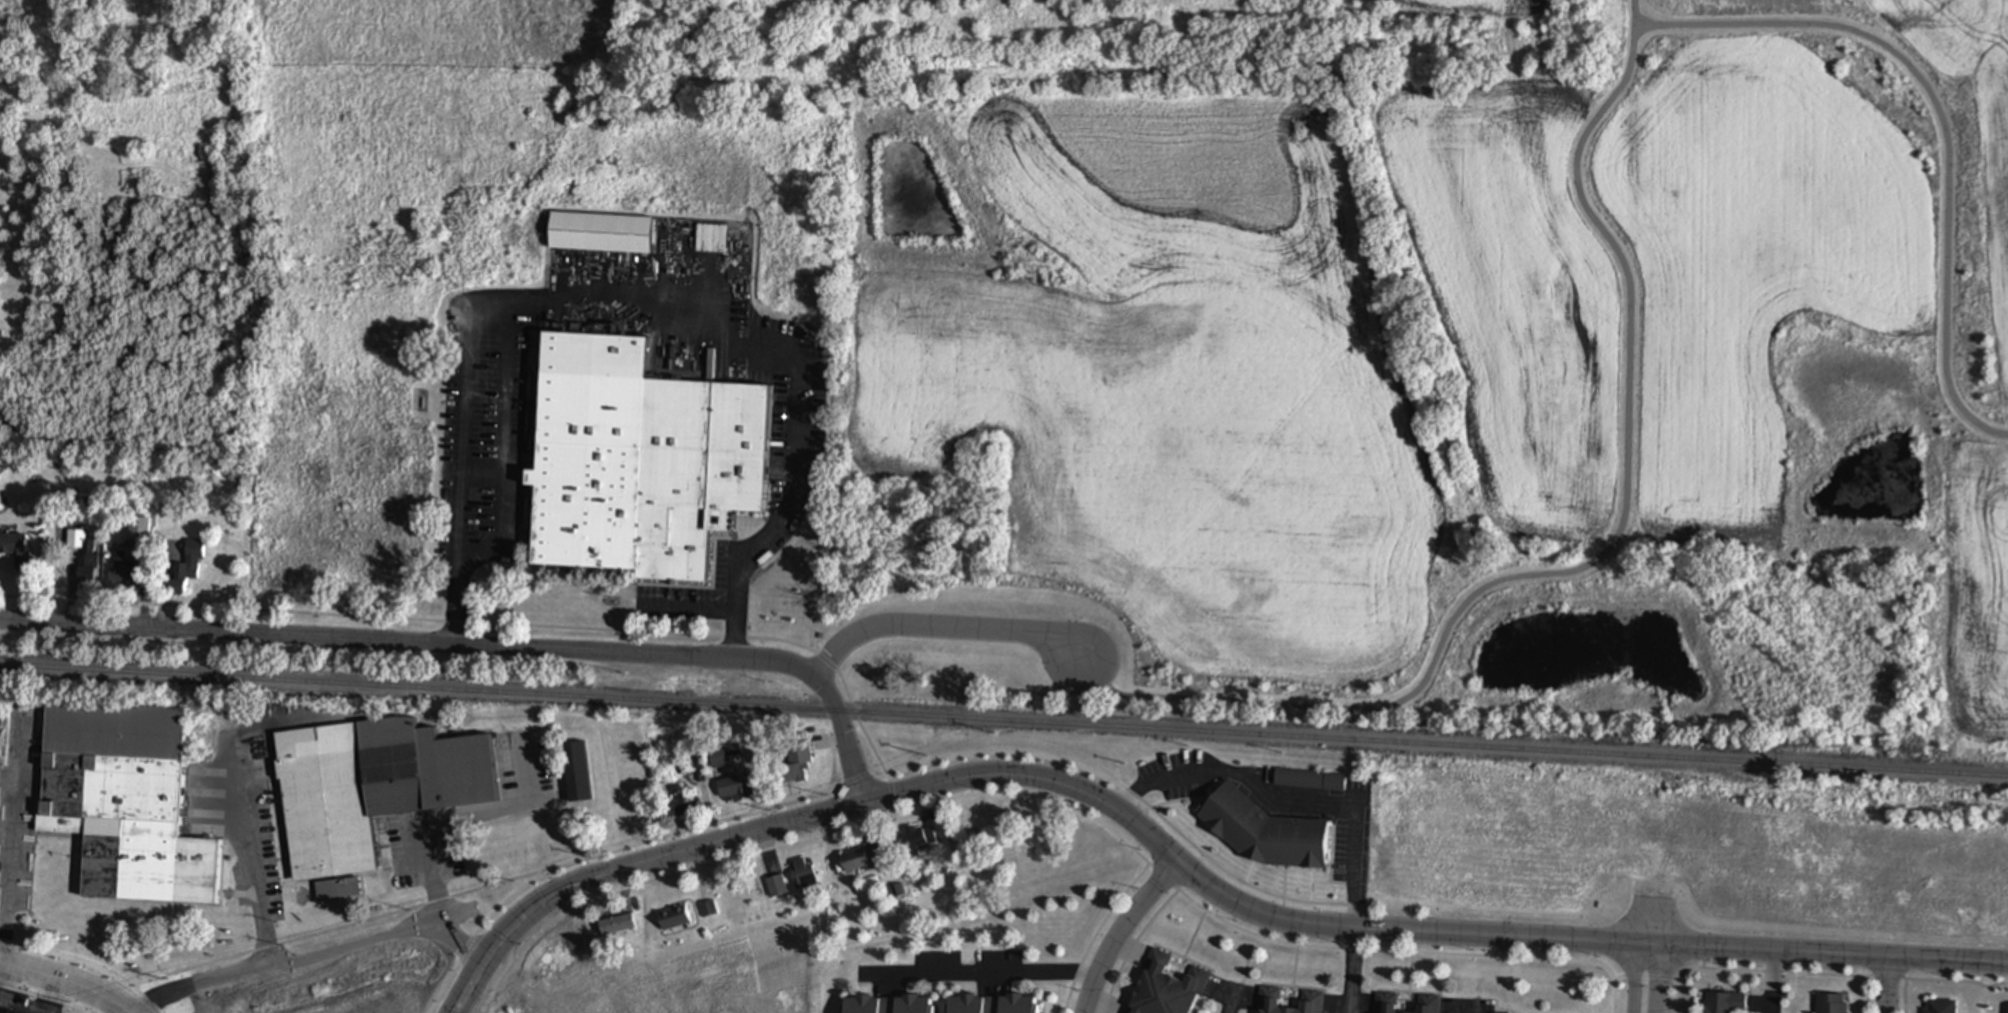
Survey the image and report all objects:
road: (1941, 121)
building: (600, 233)
road: (640, 295)
park: (1518, 316)
building: (639, 462)
building: (139, 533)
building: (16, 550)
road: (1600, 560)
building: (187, 568)
road: (944, 626)
road: (477, 647)
railway: (1004, 721)
building: (800, 759)
building: (717, 760)
building: (576, 773)
building: (1310, 781)
building: (733, 788)
building: (370, 789)
road: (1284, 798)
building: (124, 803)
building: (679, 808)
road: (810, 819)
building: (1264, 833)
building: (919, 840)
road: (10, 847)
building: (864, 859)
building: (805, 873)
building: (777, 886)
building: (337, 891)
road: (260, 911)
building: (674, 919)
road: (1636, 924)
road: (1662, 924)
building: (618, 925)
road: (1121, 930)
road: (448, 937)
road: (1513, 939)
road: (500, 942)
road: (302, 960)
road: (1353, 971)
road: (981, 975)
road: (1633, 980)
road: (1660, 981)
road: (1776, 984)
road: (66, 985)
building: (1165, 987)
road: (1887, 988)
building: (1269, 1000)
road: (1232, 1002)
building: (1386, 1003)
building: (1723, 1003)
building: (1831, 1003)
building: (888, 1004)
building: (992, 1004)
building: (1428, 1004)
building: (1940, 1006)
building: (8, 1012)
road: (130, 1012)
road: (1473, 1012)

